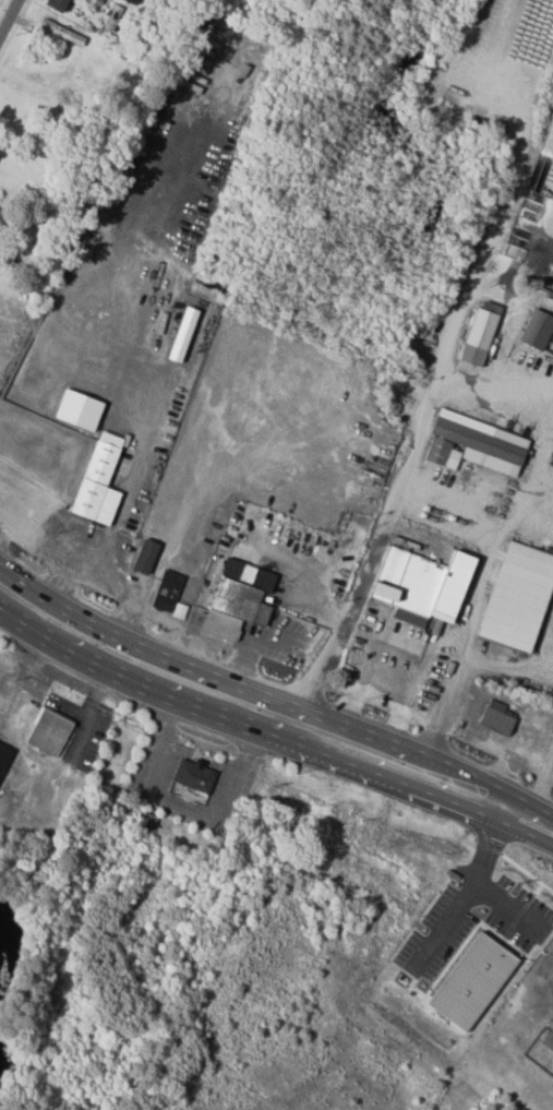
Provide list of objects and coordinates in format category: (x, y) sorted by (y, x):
building: (133, 1)
building: (58, 4)
road: (8, 15)
building: (537, 330)
building: (478, 338)
road: (544, 423)
building: (474, 445)
road: (409, 447)
building: (98, 481)
road: (120, 510)
road: (179, 521)
building: (145, 558)
road: (107, 578)
building: (421, 586)
building: (169, 595)
building: (518, 598)
building: (238, 599)
road: (178, 623)
road: (20, 624)
road: (468, 625)
road: (139, 642)
road: (259, 642)
road: (216, 644)
road: (136, 675)
road: (441, 706)
road: (399, 715)
building: (495, 719)
building: (48, 730)
building: (3, 755)
road: (421, 766)
building: (194, 775)
building: (500, 941)
building: (471, 982)
building: (549, 1039)

